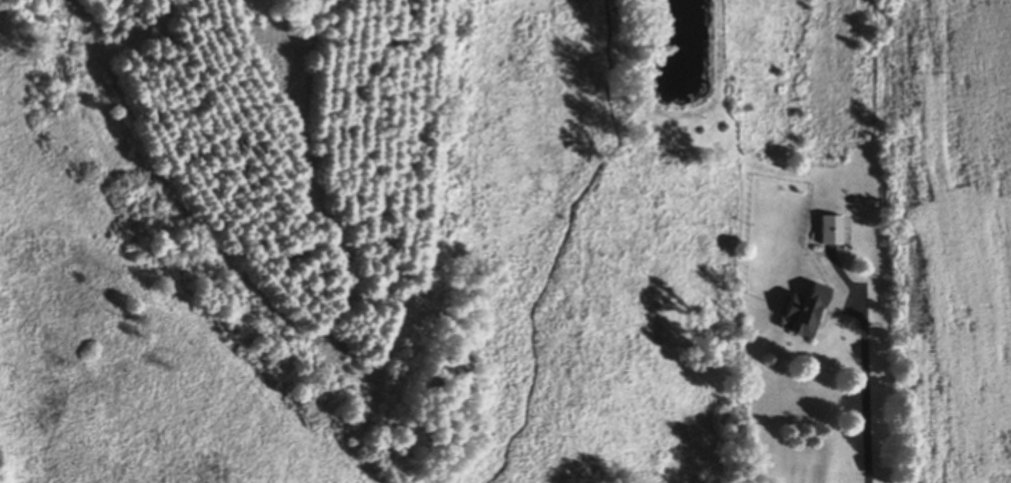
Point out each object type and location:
building: (829, 232)
building: (802, 313)
road: (867, 392)

